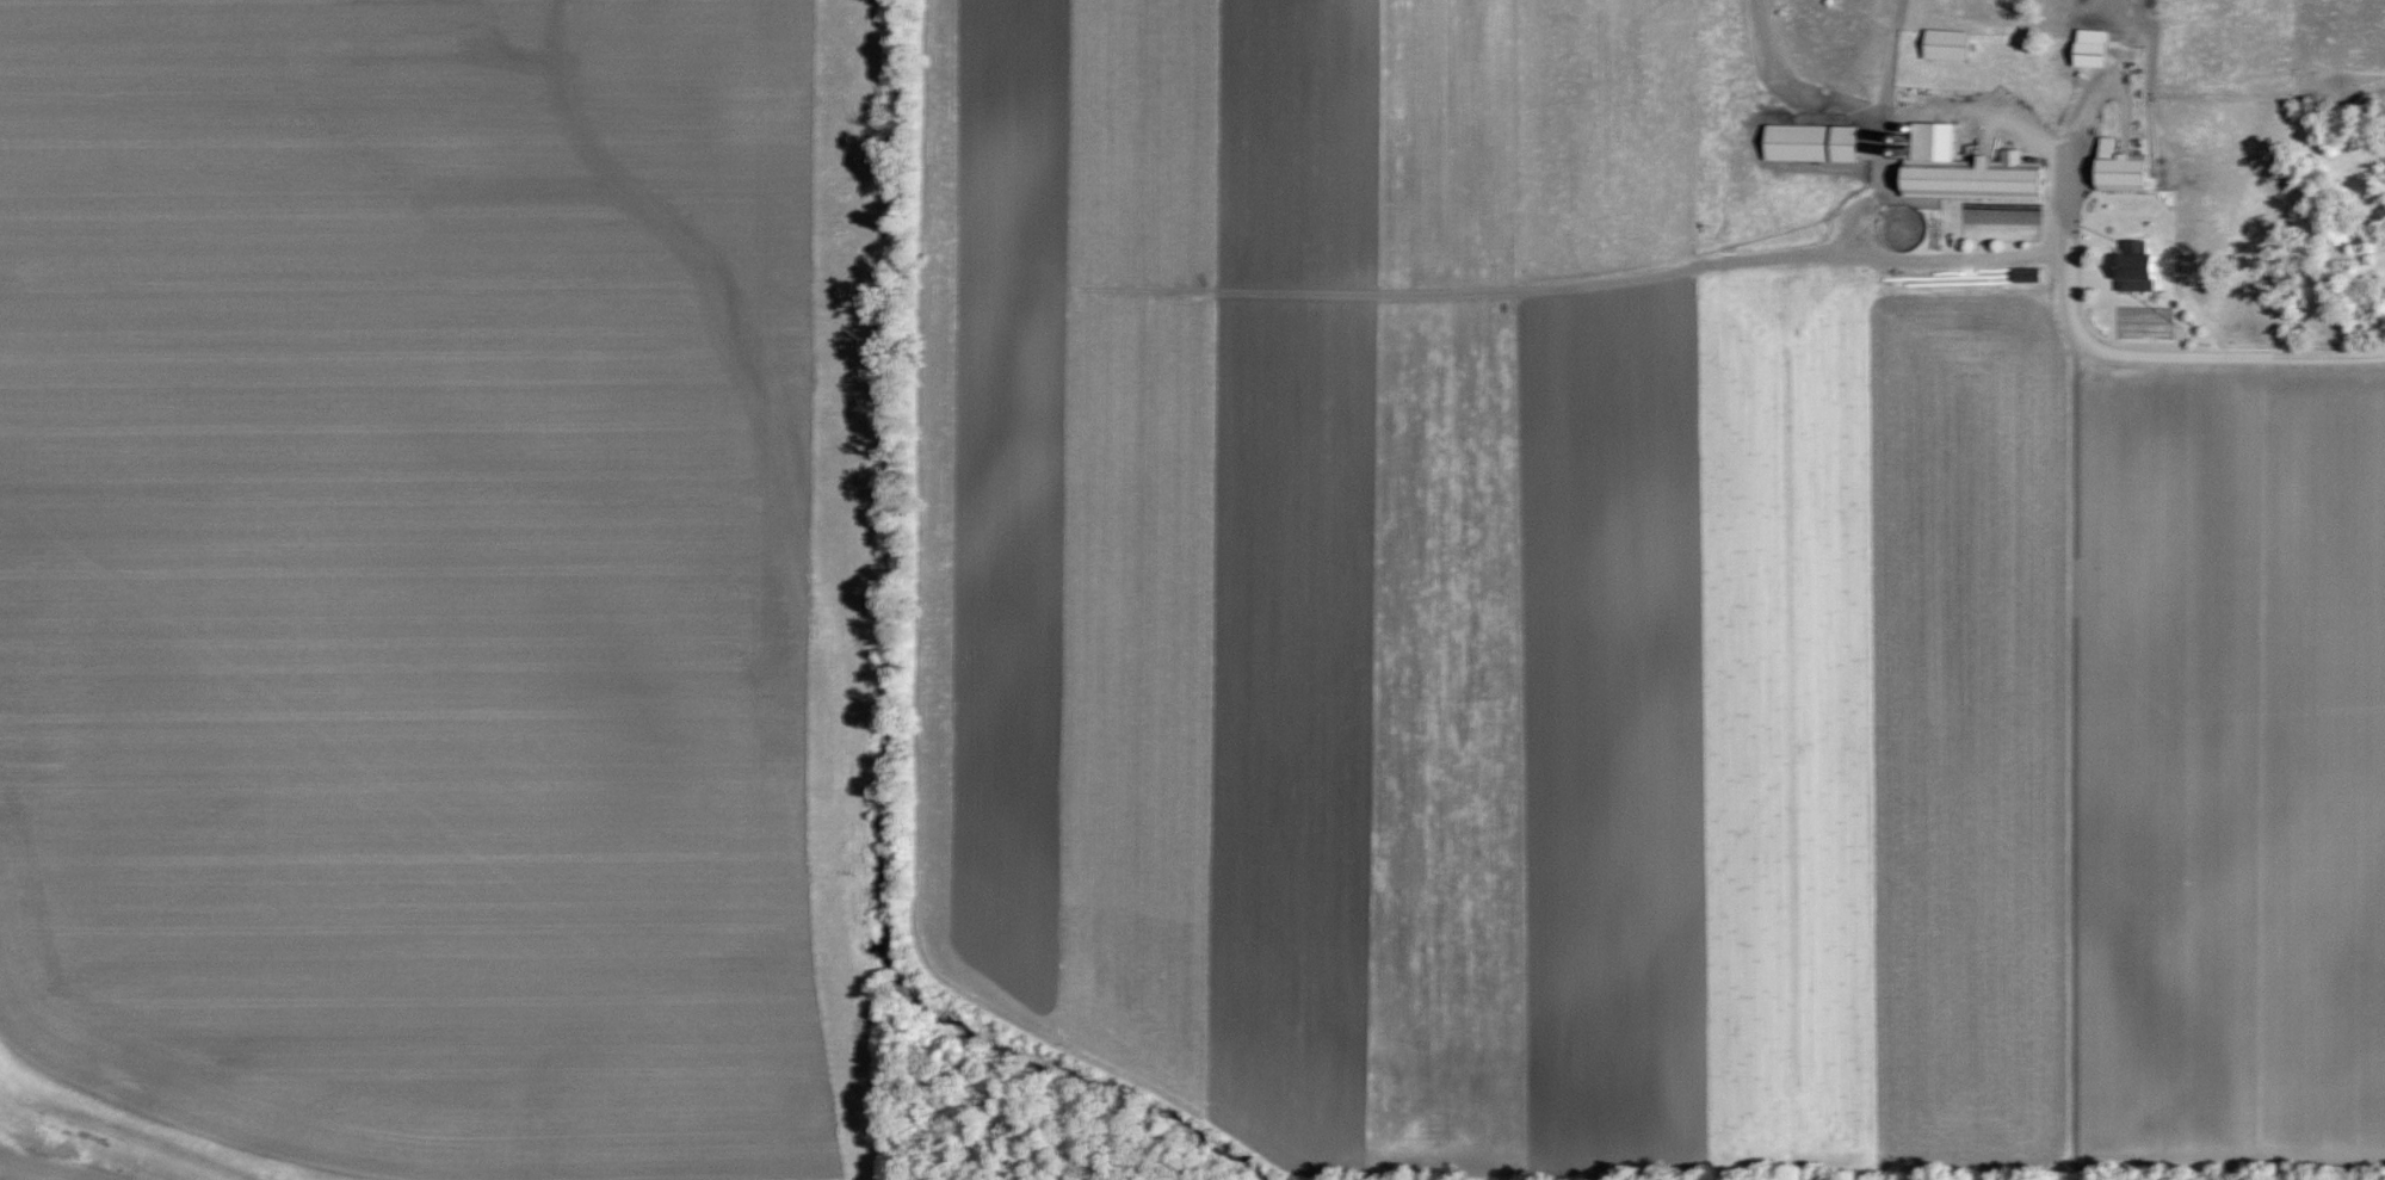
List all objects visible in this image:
building: (1944, 43)
building: (2088, 45)
building: (1810, 141)
building: (2120, 167)
building: (1961, 168)
building: (2134, 266)
road: (2131, 351)

